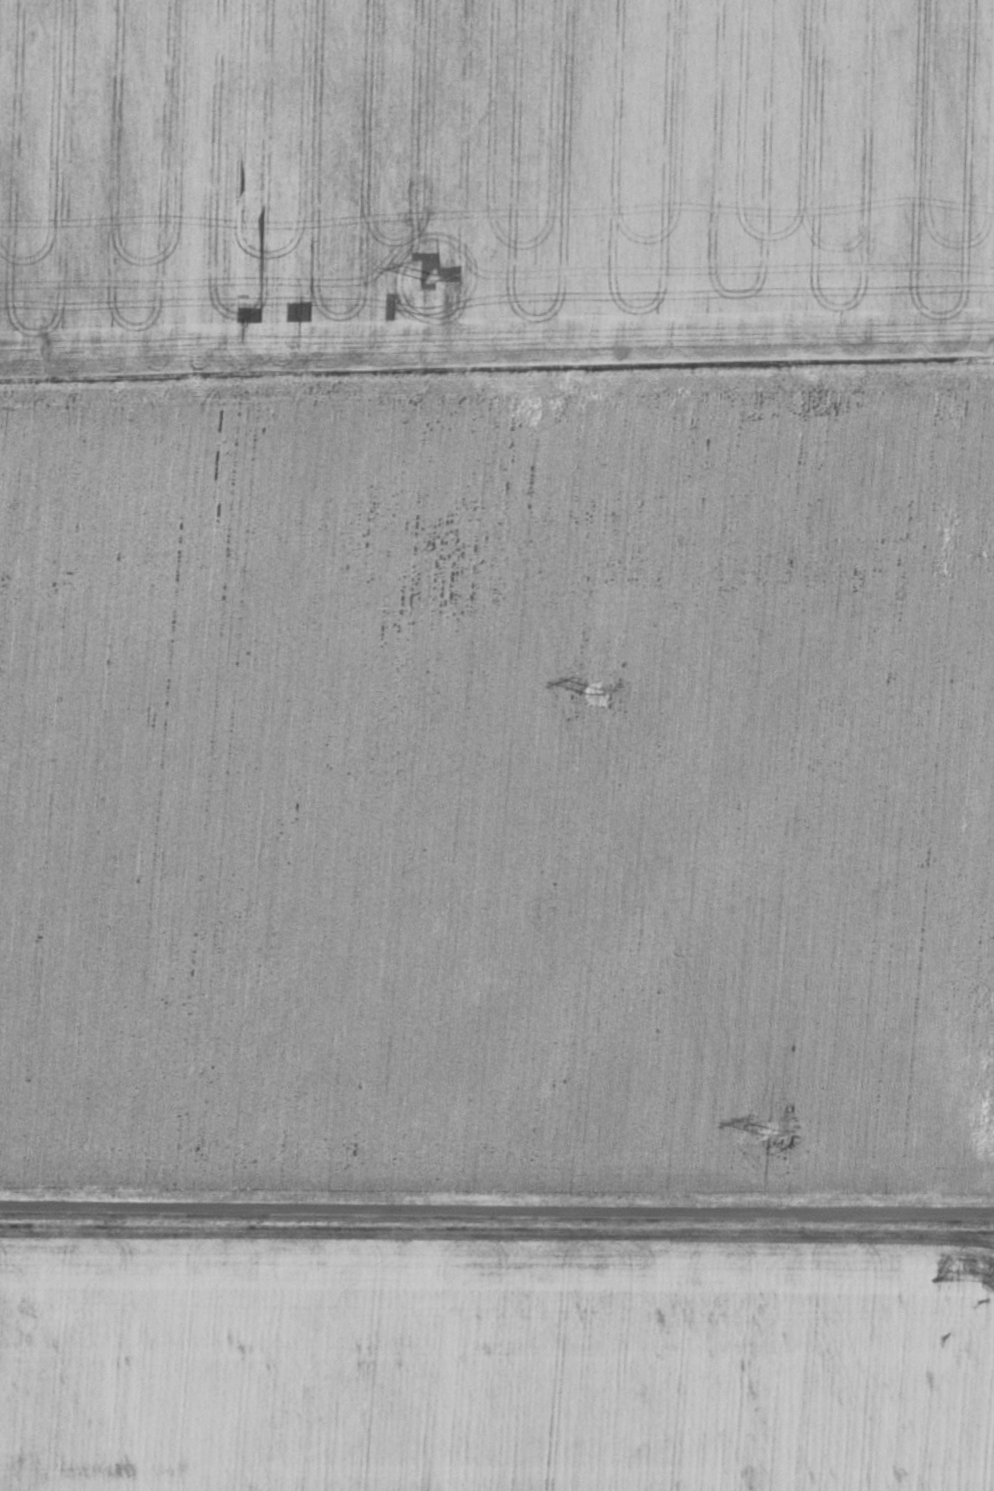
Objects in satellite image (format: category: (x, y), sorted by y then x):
power tower: (428, 272)
power tower: (593, 686)
power tower: (765, 1129)
road: (497, 1207)

